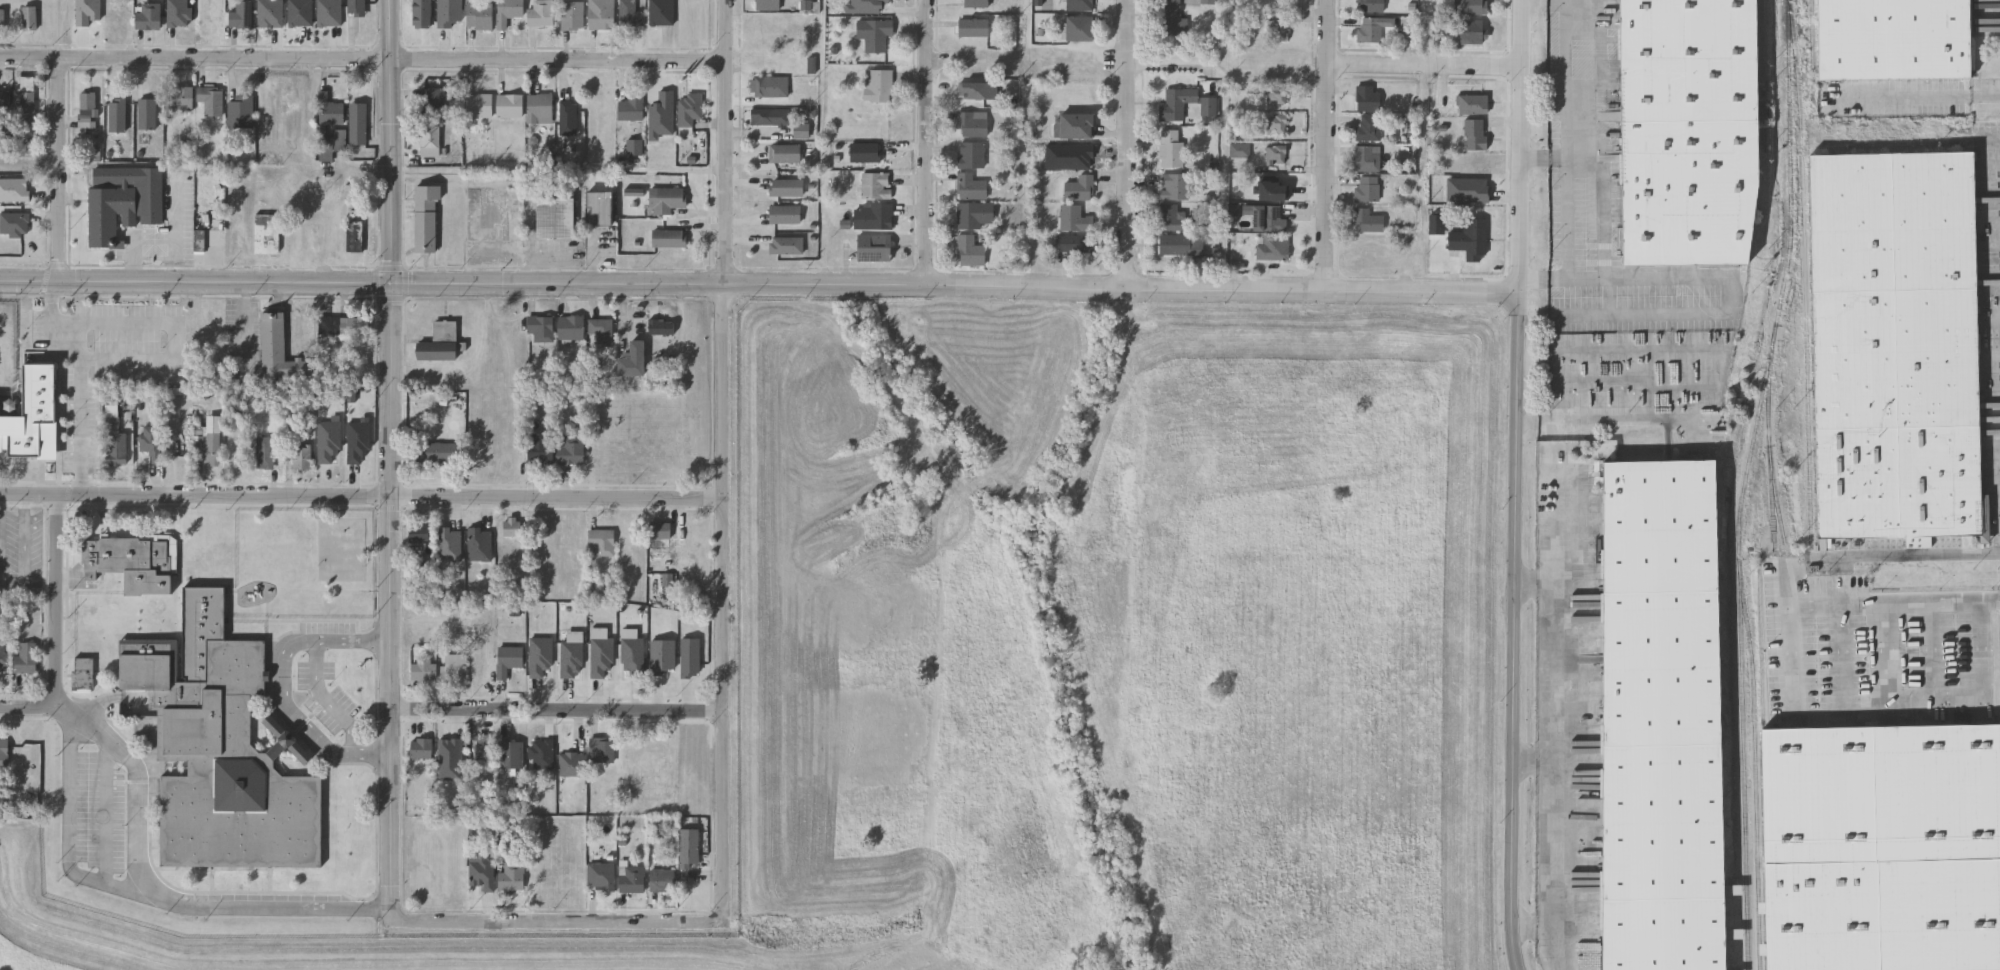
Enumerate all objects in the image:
building: (1208, 1)
road: (1575, 1)
building: (975, 3)
building: (767, 4)
building: (1078, 5)
building: (1370, 5)
building: (1469, 6)
building: (357, 8)
building: (505, 11)
building: (660, 11)
building: (301, 12)
building: (329, 12)
building: (271, 13)
building: (538, 13)
building: (570, 14)
building: (599, 14)
building: (241, 15)
building: (476, 15)
building: (148, 16)
building: (29, 18)
building: (1170, 18)
building: (972, 27)
road: (1128, 27)
building: (1372, 27)
building: (1078, 28)
building: (770, 30)
building: (1278, 31)
building: (1471, 31)
building: (874, 33)
road: (1328, 33)
building: (1892, 39)
railway: (1812, 46)
road: (1574, 52)
road: (363, 58)
road: (1422, 67)
building: (878, 85)
building: (769, 86)
building: (1276, 93)
road: (1985, 94)
road: (1896, 96)
building: (27, 99)
building: (180, 99)
building: (211, 101)
building: (433, 102)
building: (1175, 103)
building: (1471, 104)
building: (5, 105)
building: (478, 106)
building: (506, 107)
building: (628, 108)
building: (536, 109)
building: (686, 110)
building: (87, 111)
building: (331, 111)
building: (241, 112)
building: (147, 115)
building: (118, 116)
building: (769, 116)
building: (564, 119)
building: (1276, 123)
building: (969, 124)
building: (359, 125)
building: (1074, 125)
building: (1368, 127)
building: (800, 128)
building: (1687, 131)
building: (1474, 133)
road: (392, 141)
building: (430, 141)
road: (926, 141)
road: (1517, 145)
building: (632, 147)
building: (1170, 147)
building: (1239, 149)
building: (863, 152)
building: (783, 153)
building: (326, 154)
building: (970, 154)
building: (1275, 154)
building: (1367, 157)
road: (28, 164)
road: (57, 169)
road: (1128, 170)
road: (1327, 177)
building: (875, 185)
building: (1172, 185)
building: (1275, 185)
building: (21, 186)
building: (785, 186)
building: (969, 186)
building: (1078, 188)
building: (1367, 188)
road: (1571, 193)
building: (123, 200)
building: (662, 200)
building: (601, 207)
road: (1605, 208)
building: (783, 213)
building: (974, 214)
building: (872, 216)
building: (1074, 217)
building: (1169, 217)
building: (1266, 217)
building: (427, 218)
building: (555, 218)
building: (1367, 220)
building: (1435, 224)
building: (355, 232)
building: (267, 234)
building: (666, 239)
building: (1469, 239)
building: (1073, 243)
building: (785, 244)
building: (1180, 244)
building: (872, 246)
building: (1272, 246)
building: (969, 251)
railway: (1803, 274)
road: (1712, 279)
road: (758, 283)
road: (1607, 298)
road: (174, 325)
building: (658, 326)
building: (355, 327)
building: (538, 328)
building: (568, 328)
building: (598, 333)
building: (439, 342)
building: (1894, 345)
building: (279, 349)
building: (629, 360)
road: (82, 378)
building: (33, 417)
parking lot: (43, 437)
building: (152, 442)
building: (210, 447)
building: (117, 448)
building: (536, 451)
building: (568, 451)
building: (265, 452)
building: (439, 453)
building: (302, 457)
road: (723, 461)
railway: (1744, 483)
road: (361, 497)
road: (0, 507)
building: (511, 527)
railway: (1773, 527)
building: (657, 531)
building: (419, 532)
building: (597, 542)
building: (448, 544)
building: (479, 545)
road: (1553, 547)
road: (26, 549)
parking lot: (21, 551)
road: (1924, 554)
building: (132, 563)
building: (665, 581)
railway: (1792, 581)
road: (57, 601)
road: (1889, 601)
road: (393, 603)
road: (1514, 631)
road: (1931, 651)
road: (1840, 653)
building: (1, 657)
building: (26, 658)
building: (508, 661)
building: (455, 668)
building: (427, 671)
road: (1553, 671)
building: (82, 673)
road: (284, 685)
parking lot: (326, 694)
road: (326, 699)
road: (1984, 700)
road: (28, 708)
road: (559, 712)
building: (1661, 715)
building: (221, 749)
building: (421, 750)
building: (600, 751)
building: (4, 752)
building: (450, 753)
building: (511, 756)
building: (570, 765)
railway: (1755, 773)
road: (72, 786)
road: (140, 797)
parking lot: (101, 813)
road: (106, 815)
road: (1553, 841)
building: (1882, 847)
building: (480, 872)
building: (511, 877)
building: (600, 877)
building: (662, 877)
building: (632, 879)
road: (229, 903)
road: (558, 923)

